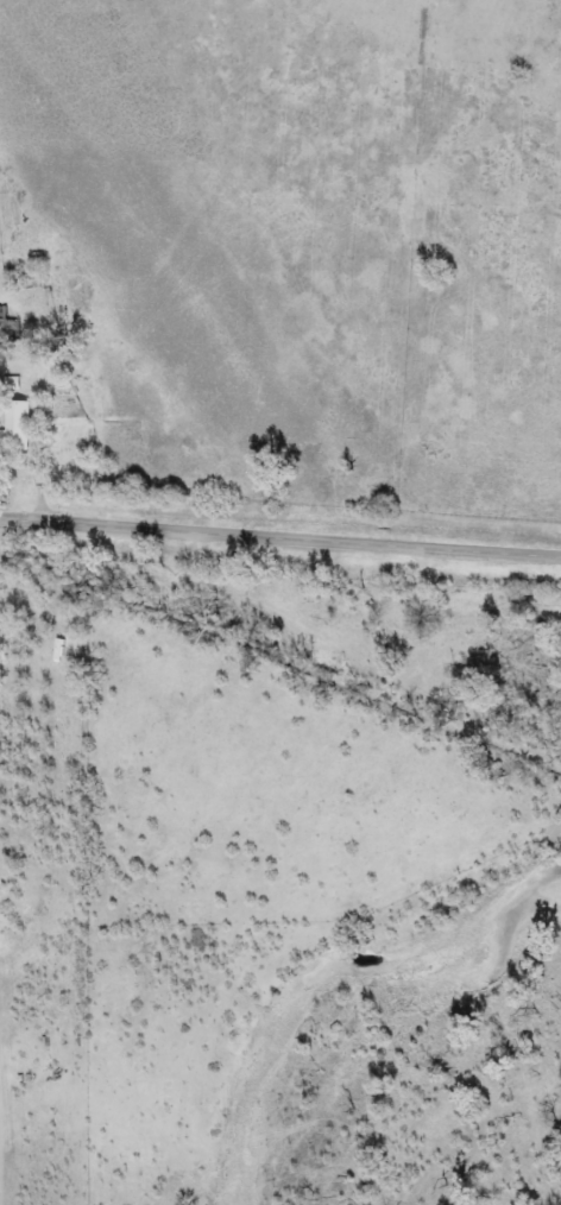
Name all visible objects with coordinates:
building: (12, 328)
building: (17, 424)
road: (279, 538)

